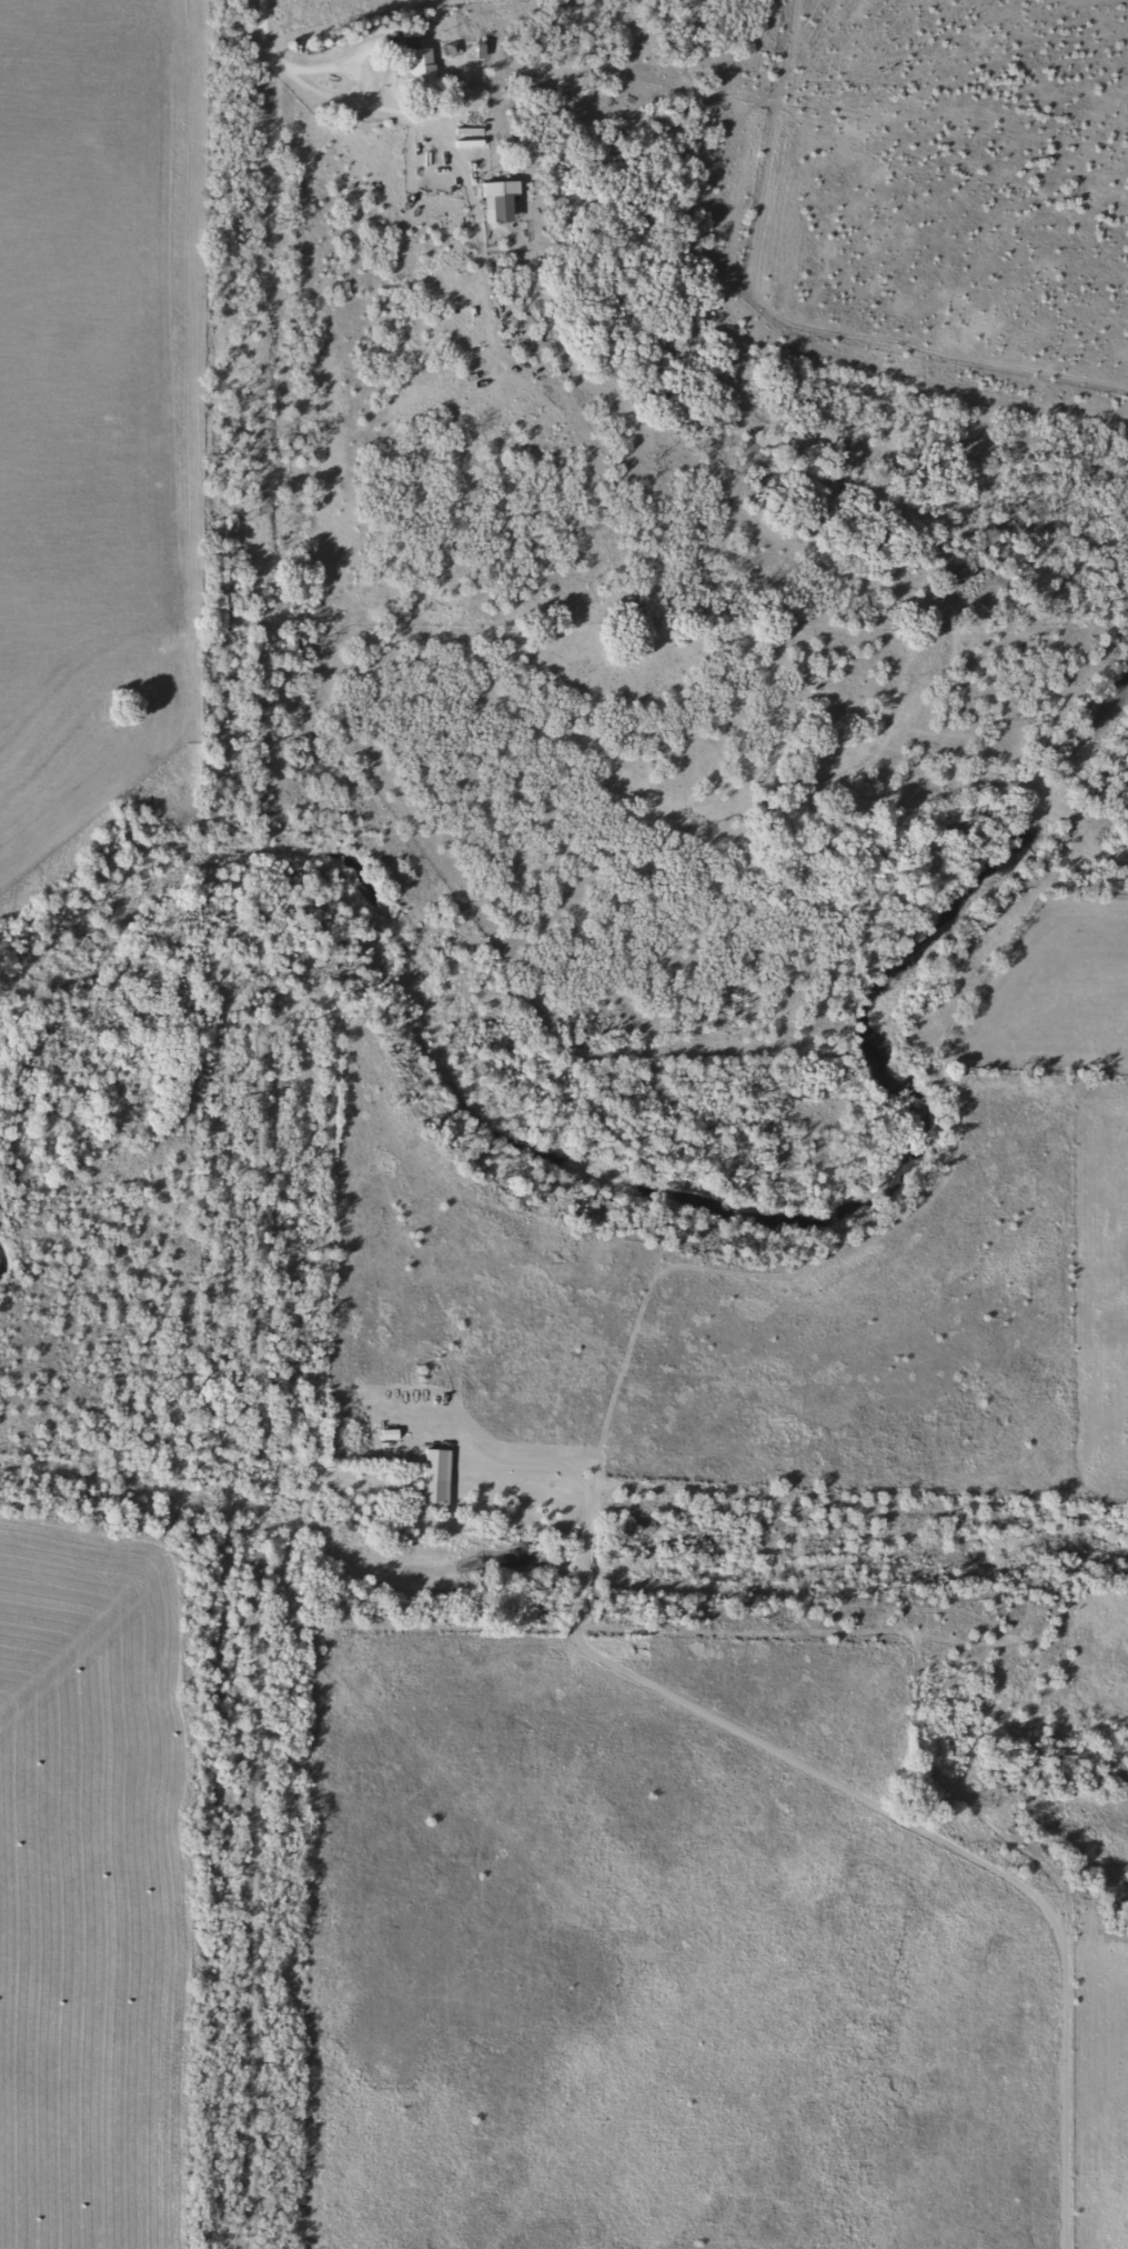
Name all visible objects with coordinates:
building: (414, 64)
building: (495, 201)

